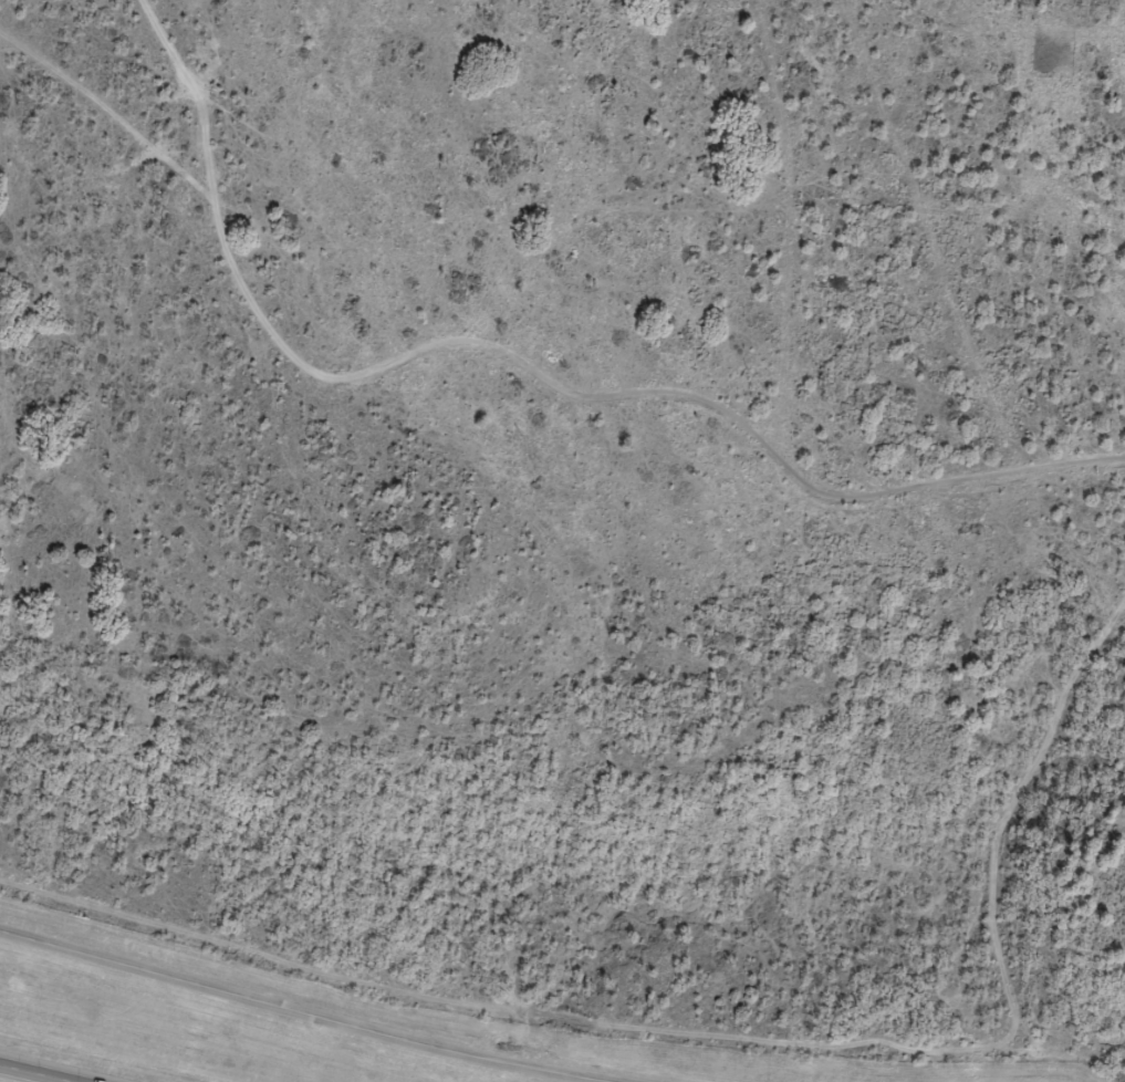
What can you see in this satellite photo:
road: (188, 984)
road: (479, 1057)
road: (44, 1071)

